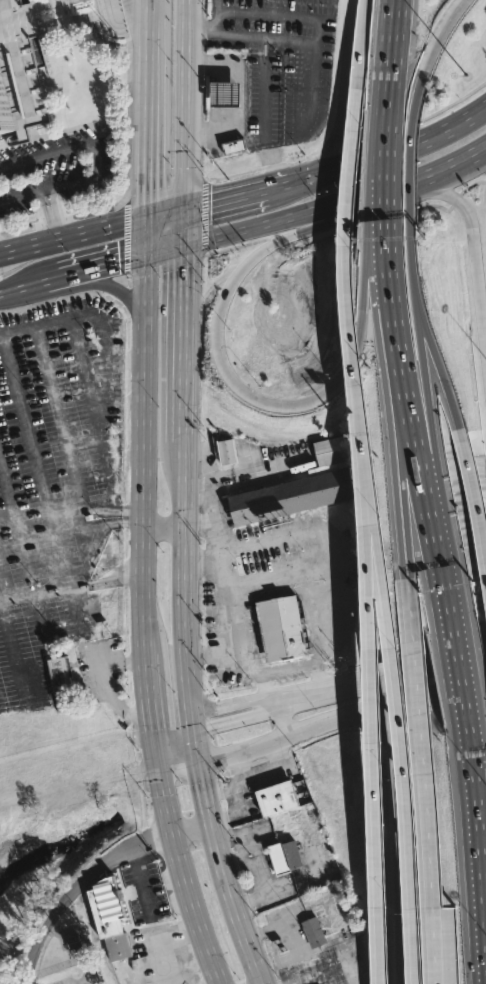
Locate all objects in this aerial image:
building: (8, 3)
road: (215, 5)
road: (150, 8)
road: (283, 18)
road: (149, 31)
road: (231, 37)
road: (293, 43)
road: (429, 59)
road: (387, 65)
building: (225, 94)
building: (21, 95)
road: (313, 97)
road: (344, 99)
road: (184, 105)
road: (267, 113)
road: (147, 132)
building: (234, 146)
road: (382, 151)
road: (394, 153)
road: (98, 163)
road: (408, 182)
road: (420, 185)
traffic signals: (147, 191)
road: (239, 194)
road: (39, 198)
traffic signals: (212, 202)
road: (385, 208)
road: (164, 215)
road: (366, 222)
road: (267, 225)
road: (183, 227)
road: (146, 236)
road: (73, 237)
road: (164, 248)
road: (474, 249)
road: (344, 254)
road: (7, 261)
traffic signals: (119, 261)
road: (97, 266)
traffic signals: (183, 267)
road: (415, 279)
road: (105, 285)
road: (24, 286)
road: (393, 304)
road: (94, 317)
road: (183, 338)
road: (438, 372)
road: (228, 374)
road: (431, 420)
road: (67, 440)
road: (417, 441)
road: (402, 449)
building: (330, 450)
parking lot: (62, 451)
building: (229, 452)
road: (143, 455)
road: (37, 460)
road: (473, 491)
road: (109, 492)
building: (291, 496)
road: (18, 519)
road: (127, 523)
road: (163, 527)
road: (330, 545)
road: (437, 547)
road: (202, 564)
road: (184, 576)
road: (2, 587)
road: (232, 587)
road: (445, 598)
building: (280, 628)
road: (89, 650)
road: (434, 662)
road: (302, 665)
building: (58, 671)
road: (454, 674)
road: (98, 680)
road: (353, 682)
road: (384, 689)
road: (148, 692)
road: (435, 692)
road: (301, 695)
road: (271, 702)
road: (370, 707)
road: (228, 712)
road: (283, 715)
road: (335, 716)
traffic signals: (193, 720)
road: (173, 724)
traffic signals: (153, 728)
road: (280, 732)
road: (195, 739)
road: (253, 740)
road: (399, 745)
road: (156, 748)
road: (214, 752)
traffic signals: (197, 758)
road: (423, 759)
road: (178, 763)
road: (238, 764)
traffic signals: (159, 768)
road: (245, 780)
building: (276, 798)
park: (59, 816)
road: (191, 829)
building: (337, 835)
road: (393, 843)
road: (475, 850)
building: (285, 855)
road: (252, 856)
road: (222, 872)
road: (182, 877)
road: (298, 878)
road: (79, 888)
road: (147, 909)
building: (107, 917)
building: (313, 932)
road: (377, 945)

